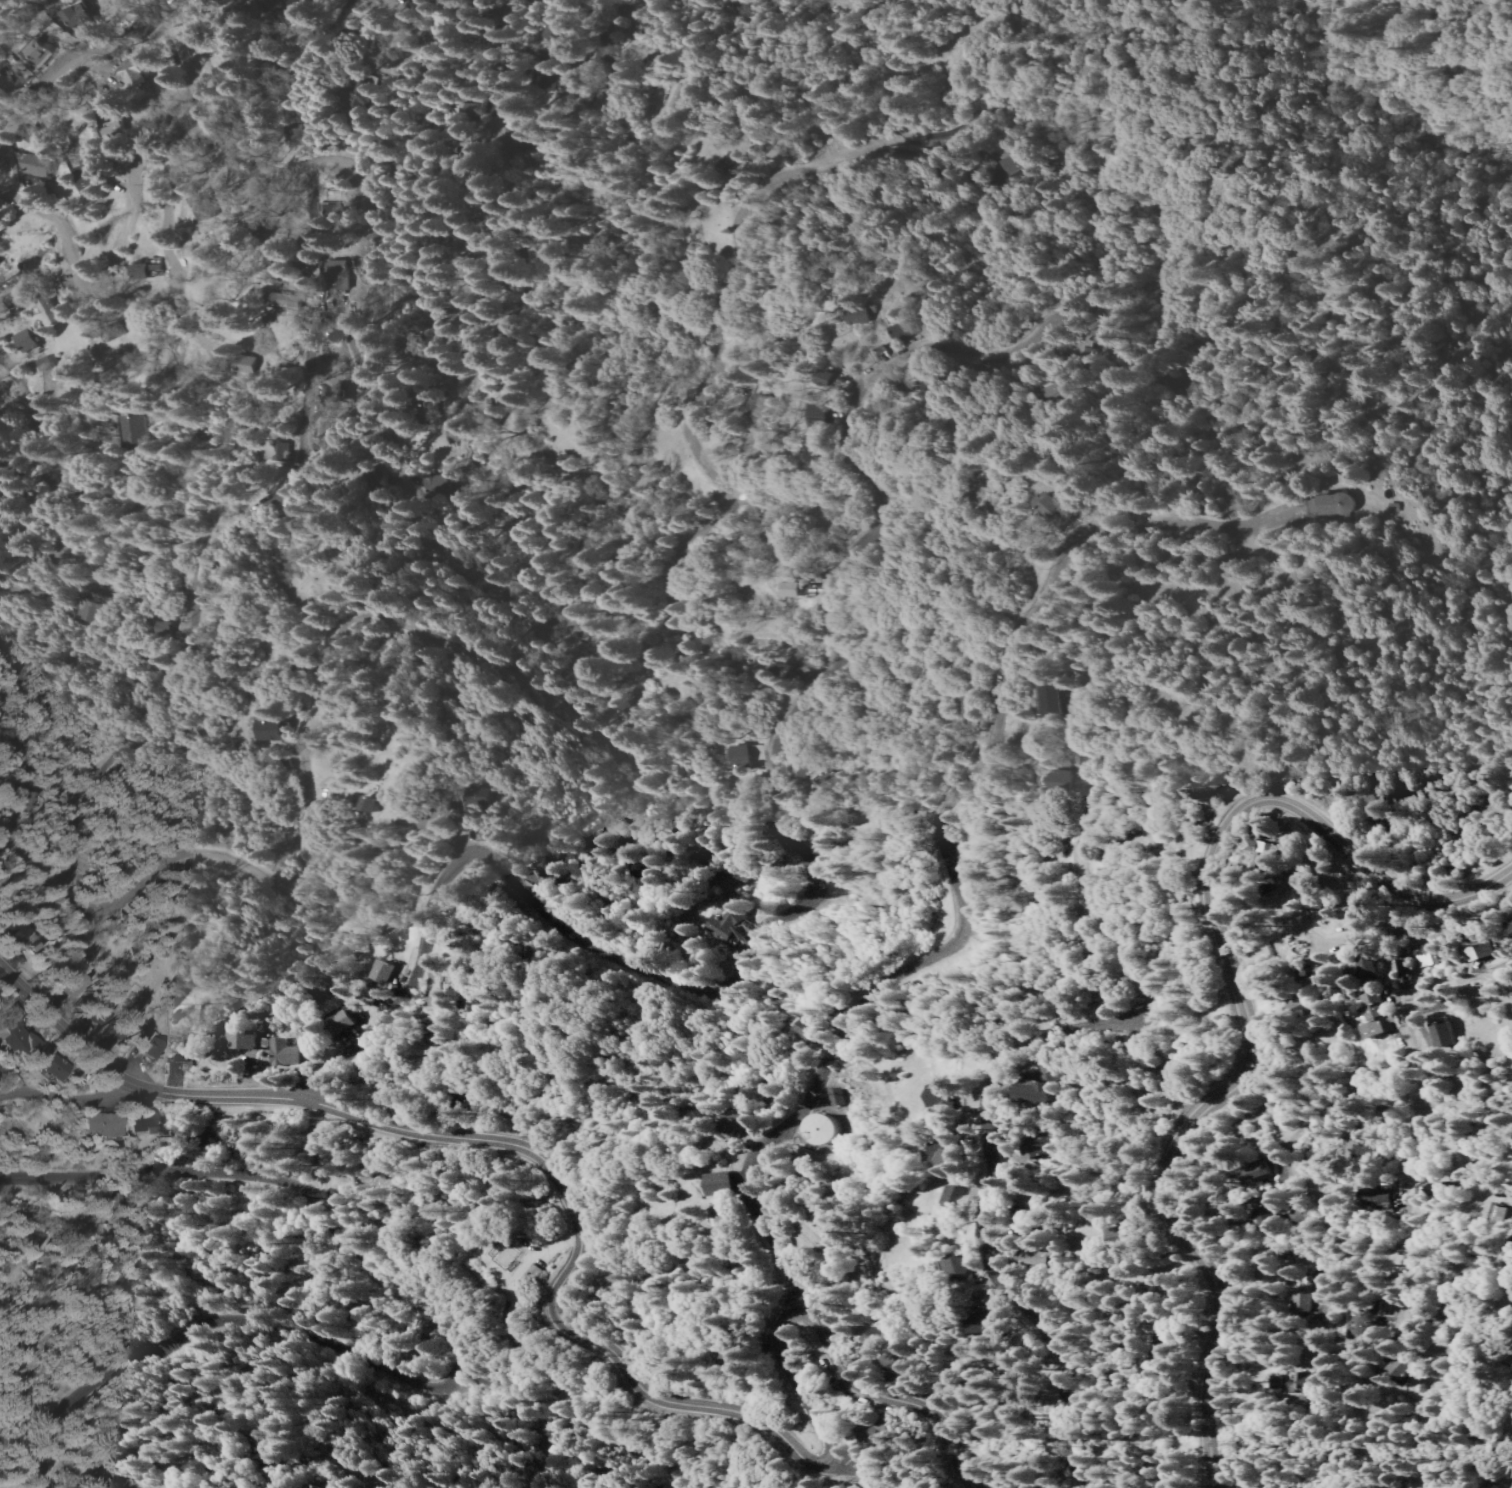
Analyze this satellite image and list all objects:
building: (295, 4)
building: (80, 18)
building: (564, 33)
road: (490, 35)
building: (156, 65)
building: (226, 67)
building: (133, 75)
building: (9, 86)
building: (674, 96)
road: (21, 107)
building: (471, 112)
building: (116, 131)
building: (37, 139)
building: (1013, 163)
building: (39, 165)
road: (350, 172)
building: (735, 173)
building: (86, 178)
building: (205, 207)
building: (333, 212)
road: (125, 235)
road: (170, 266)
building: (338, 267)
building: (149, 270)
building: (4, 305)
building: (52, 313)
building: (905, 330)
building: (28, 341)
road: (351, 346)
building: (45, 365)
building: (246, 365)
building: (829, 380)
building: (932, 387)
building: (1057, 390)
building: (757, 406)
road: (31, 416)
building: (131, 431)
building: (227, 435)
building: (441, 440)
building: (287, 454)
road: (99, 459)
road: (583, 483)
building: (439, 486)
building: (1053, 506)
building: (302, 516)
building: (798, 590)
road: (189, 595)
building: (87, 614)
building: (163, 628)
building: (304, 664)
building: (787, 668)
building: (1057, 701)
building: (967, 708)
road: (635, 719)
building: (274, 732)
building: (759, 755)
building: (747, 757)
building: (796, 767)
building: (1062, 780)
building: (831, 788)
road: (962, 802)
building: (375, 805)
building: (436, 824)
building: (364, 833)
building: (1265, 852)
road: (1084, 864)
building: (549, 876)
road: (815, 876)
building: (729, 925)
building: (1510, 927)
road: (1422, 930)
building: (19, 936)
building: (1425, 955)
building: (1475, 955)
building: (1370, 966)
building: (387, 972)
building: (1401, 973)
road: (1455, 979)
building: (69, 990)
building: (1305, 1007)
road: (1242, 1011)
building: (1379, 1016)
building: (345, 1022)
building: (811, 1029)
building: (1448, 1037)
building: (245, 1038)
building: (18, 1039)
building: (285, 1054)
building: (56, 1069)
building: (1033, 1092)
road: (75, 1098)
building: (835, 1098)
building: (943, 1098)
building: (736, 1124)
road: (1414, 1125)
building: (104, 1127)
building: (142, 1127)
building: (820, 1129)
road: (491, 1142)
building: (1038, 1147)
building: (944, 1155)
building: (1372, 1155)
road: (1286, 1163)
building: (724, 1184)
building: (1441, 1189)
building: (959, 1197)
road: (993, 1206)
building: (1268, 1212)
building: (724, 1213)
building: (1500, 1215)
building: (1124, 1237)
building: (1033, 1259)
building: (959, 1268)
road: (1507, 1272)
building: (530, 1274)
building: (1303, 1300)
building: (1366, 1326)
building: (874, 1339)
building: (725, 1355)
building: (1167, 1356)
road: (460, 1363)
building: (1402, 1367)
road: (791, 1378)
building: (1302, 1384)
road: (896, 1403)
building: (881, 1432)
road: (282, 1444)
building: (269, 1462)
road: (851, 1470)
building: (320, 1486)

